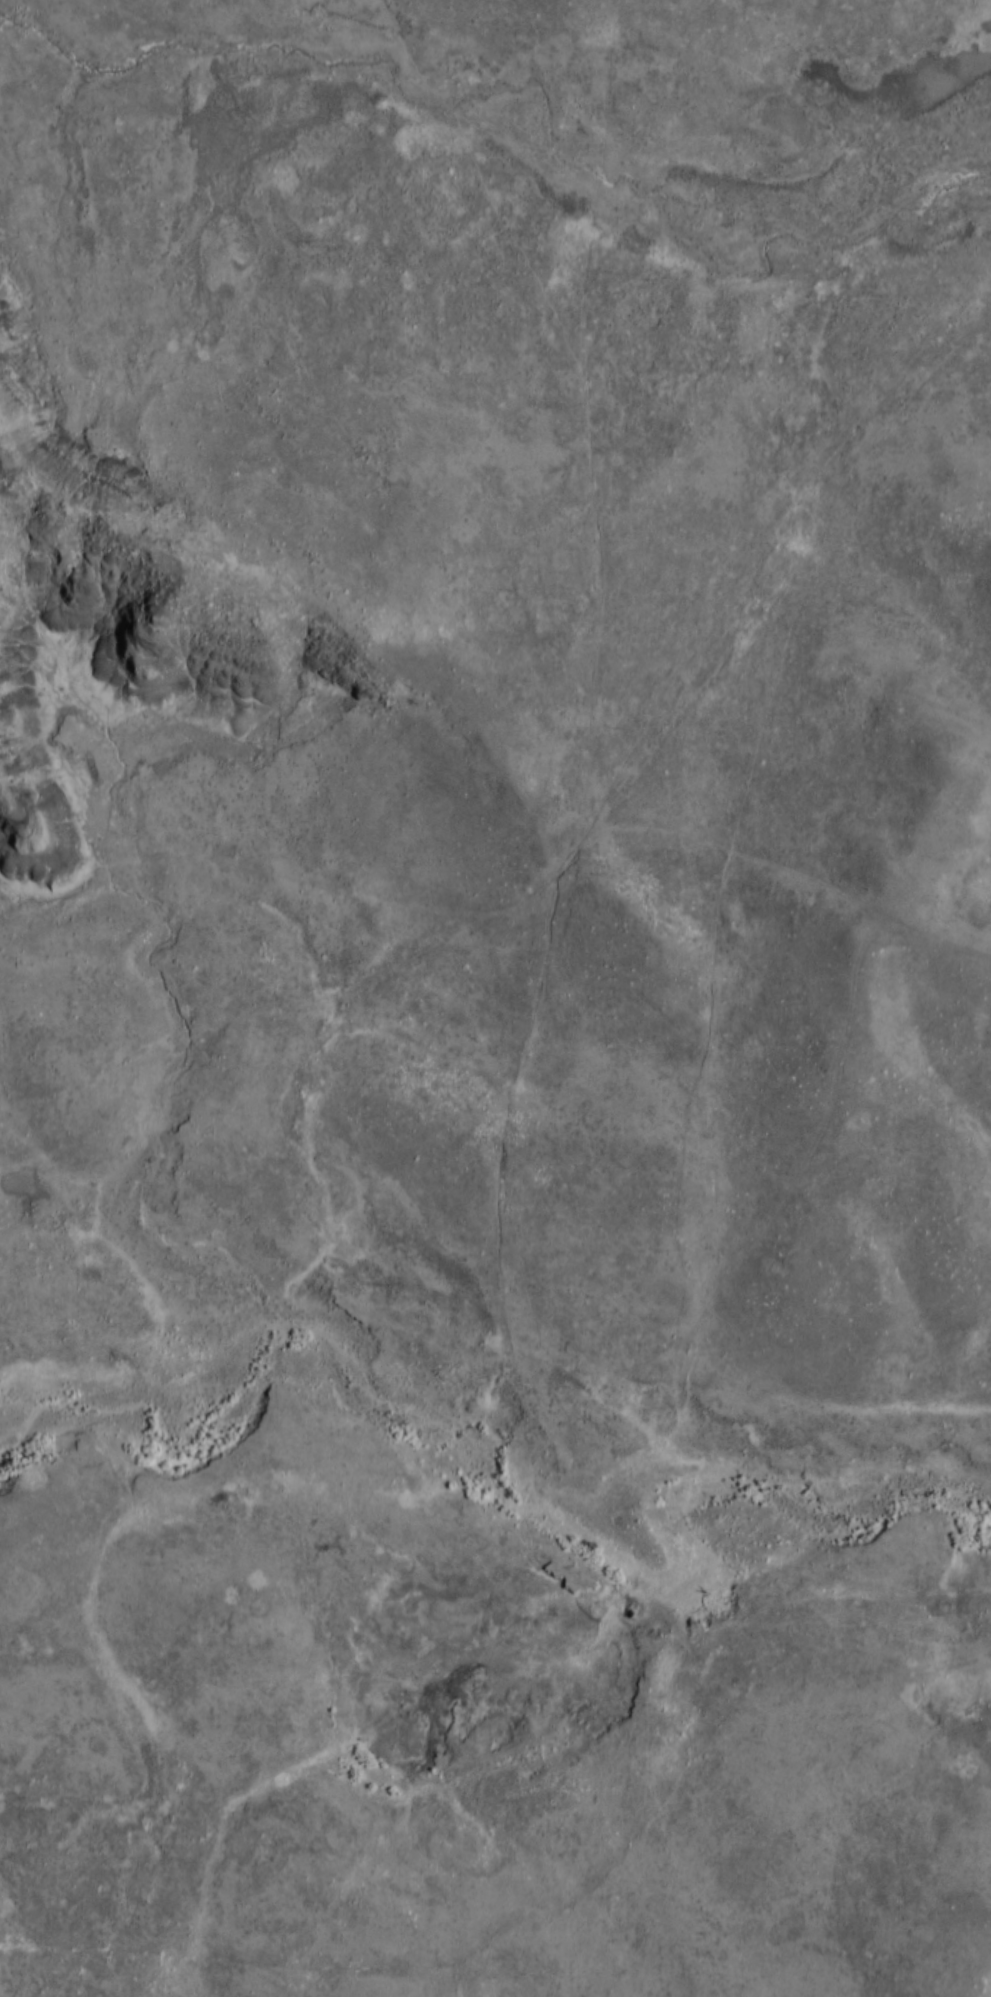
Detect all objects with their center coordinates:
road: (623, 1273)

